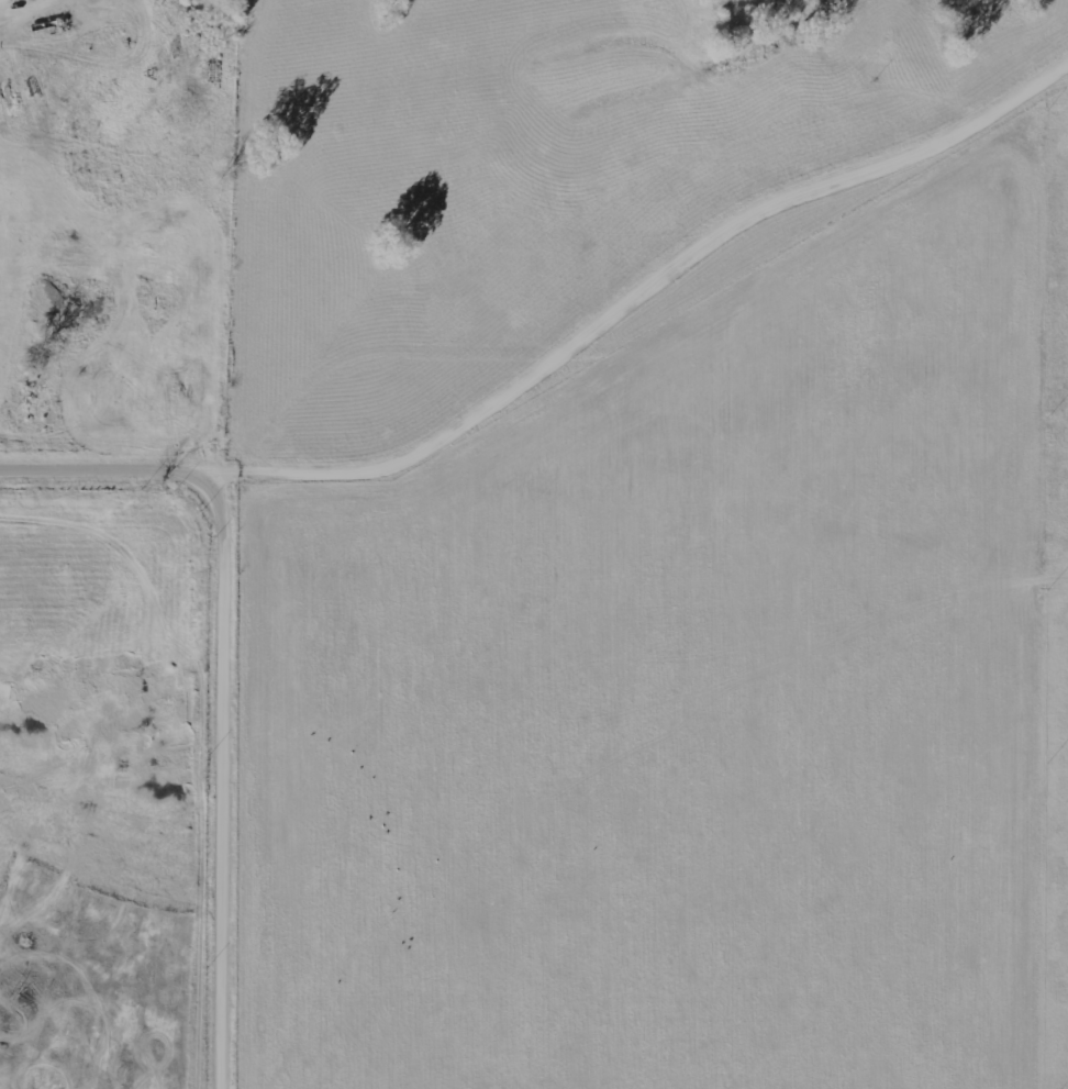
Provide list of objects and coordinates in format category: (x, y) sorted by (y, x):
road: (5, 5)
road: (380, 373)
road: (231, 678)

